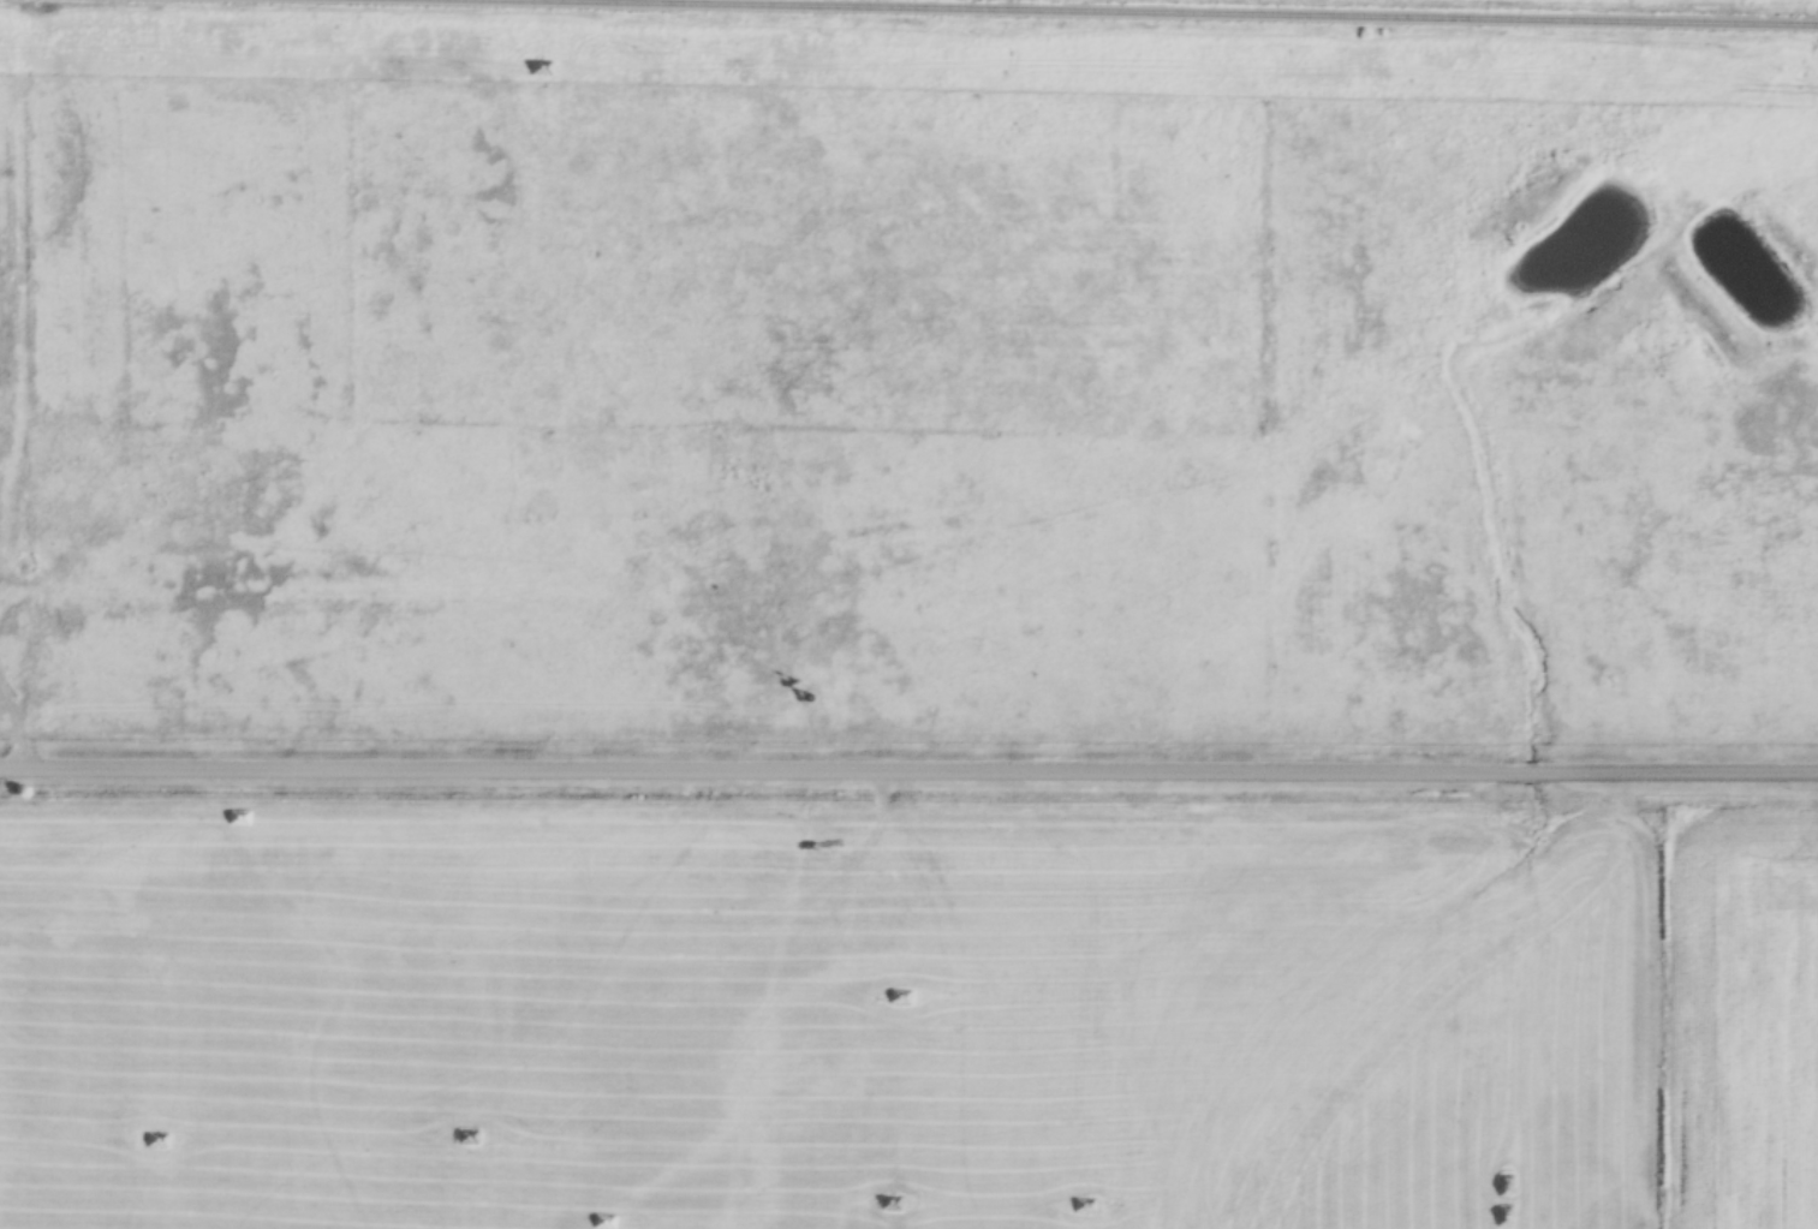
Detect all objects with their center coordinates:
railway: (1121, 13)
road: (908, 772)

